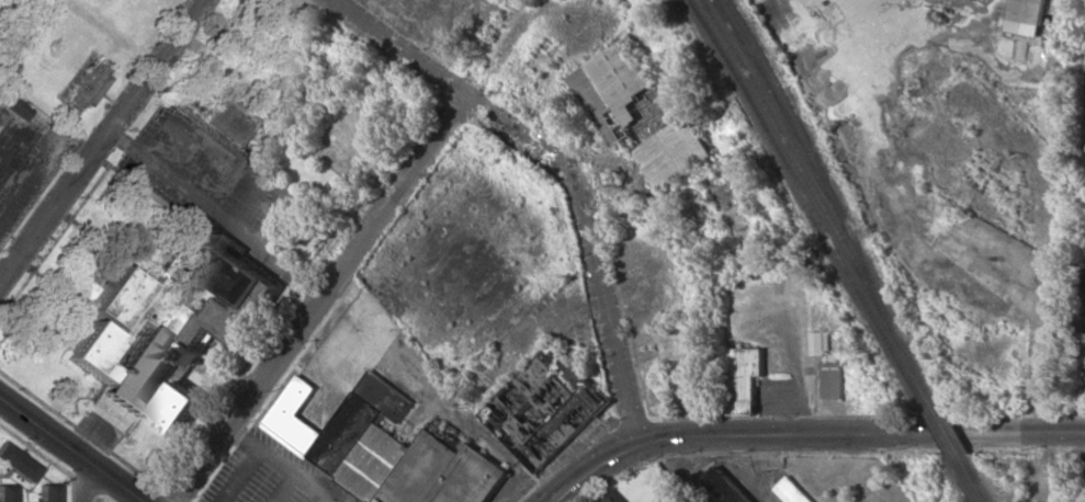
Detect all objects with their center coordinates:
road: (533, 1)
road: (568, 12)
building: (1027, 16)
building: (86, 84)
building: (14, 109)
building: (637, 114)
building: (227, 119)
road: (100, 140)
road: (562, 168)
railway: (809, 203)
railway: (822, 204)
road: (354, 251)
building: (228, 271)
building: (118, 297)
building: (169, 307)
building: (231, 318)
building: (820, 342)
building: (128, 363)
building: (744, 378)
building: (832, 380)
building: (177, 408)
building: (545, 408)
railway: (937, 430)
railway: (950, 433)
road: (812, 435)
building: (387, 448)
road: (67, 452)
building: (16, 463)
road: (282, 464)
road: (241, 475)
parking lot: (270, 475)
railway: (962, 477)
railway: (974, 478)
road: (86, 483)
building: (725, 487)
road: (283, 488)
building: (793, 491)
building: (46, 492)
building: (7, 493)
building: (611, 498)
road: (326, 500)

